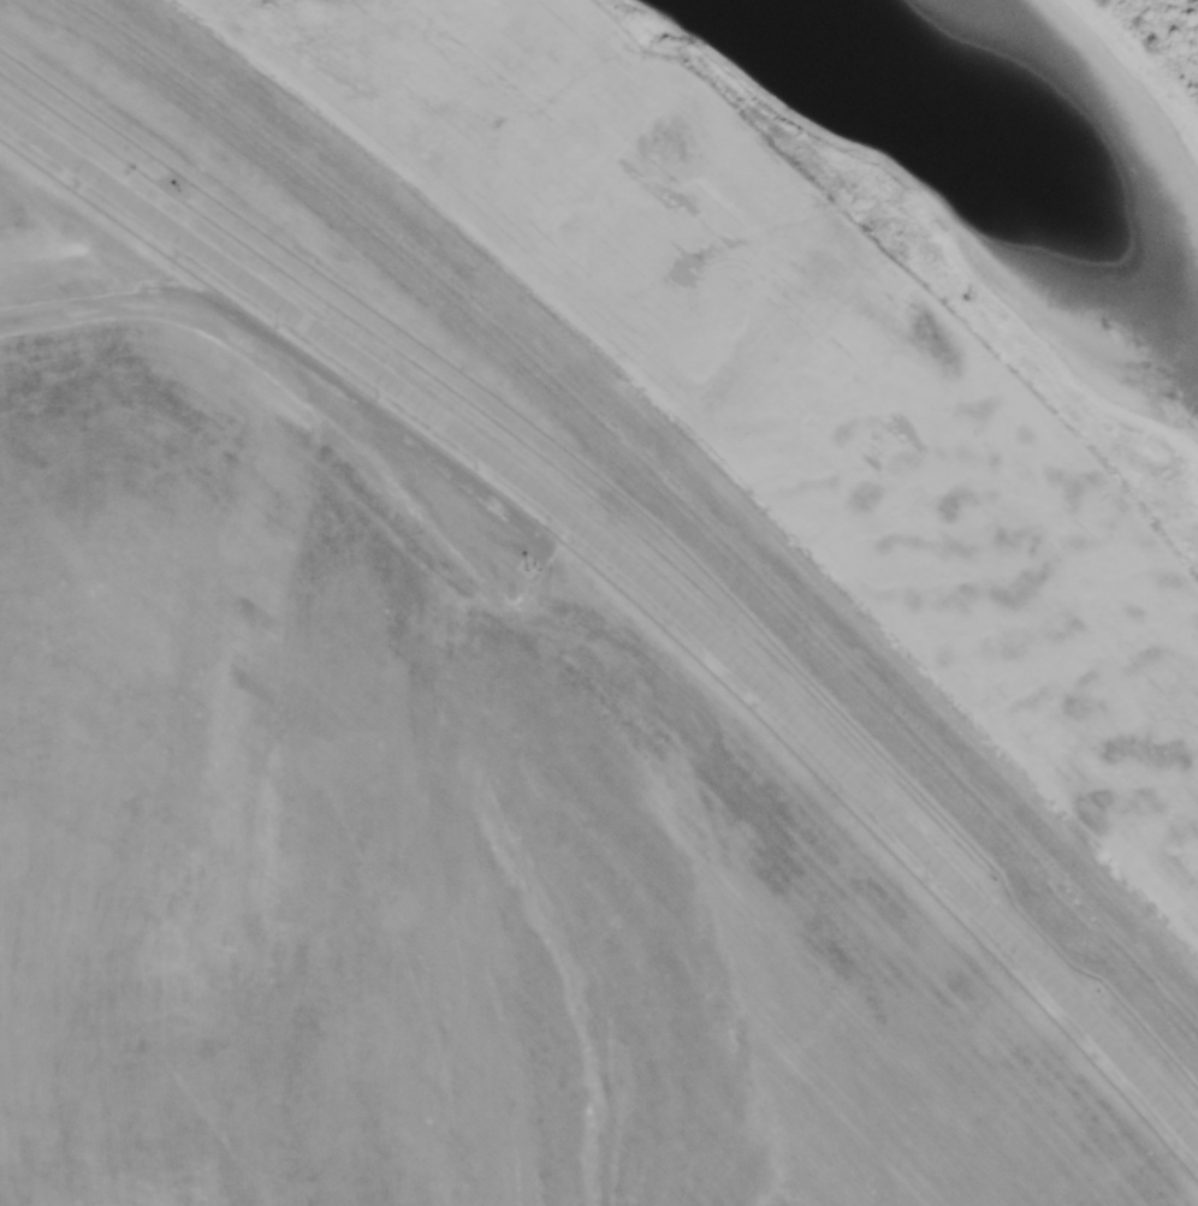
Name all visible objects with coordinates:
road: (319, 408)
road: (641, 578)
airport: (447, 797)

